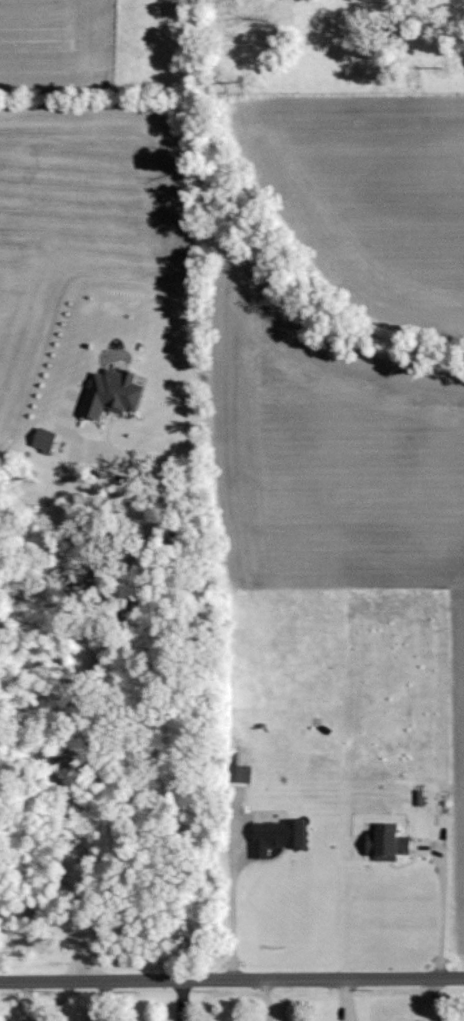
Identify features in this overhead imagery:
building: (112, 393)
building: (44, 440)
road: (118, 591)
building: (278, 836)
building: (389, 844)
road: (231, 910)
road: (440, 914)
road: (232, 978)

